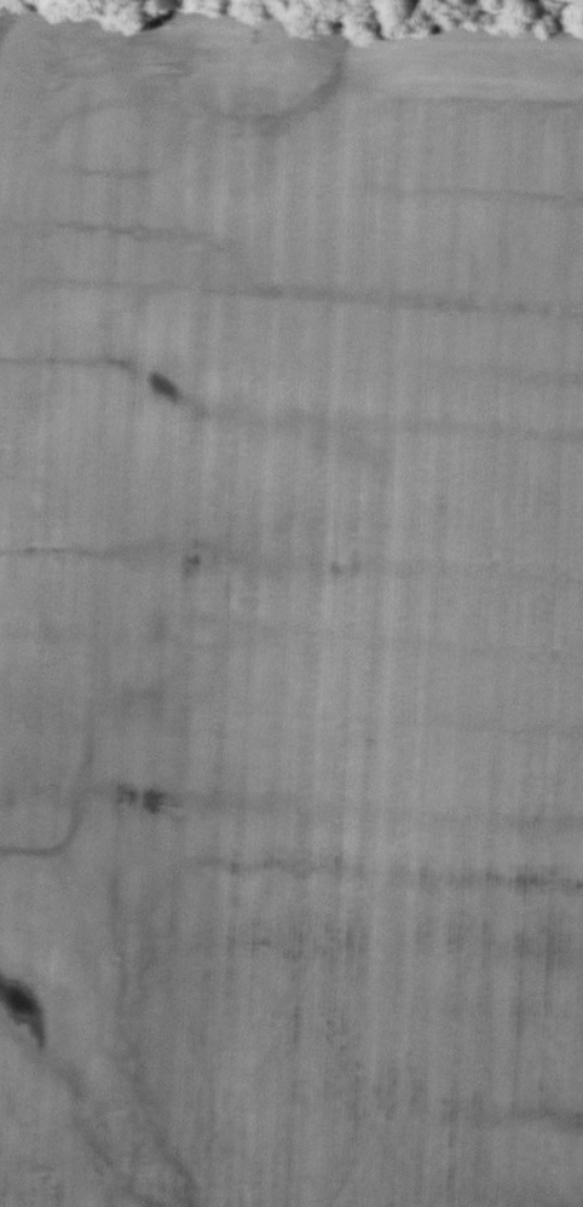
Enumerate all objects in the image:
crop: (290, 612)

